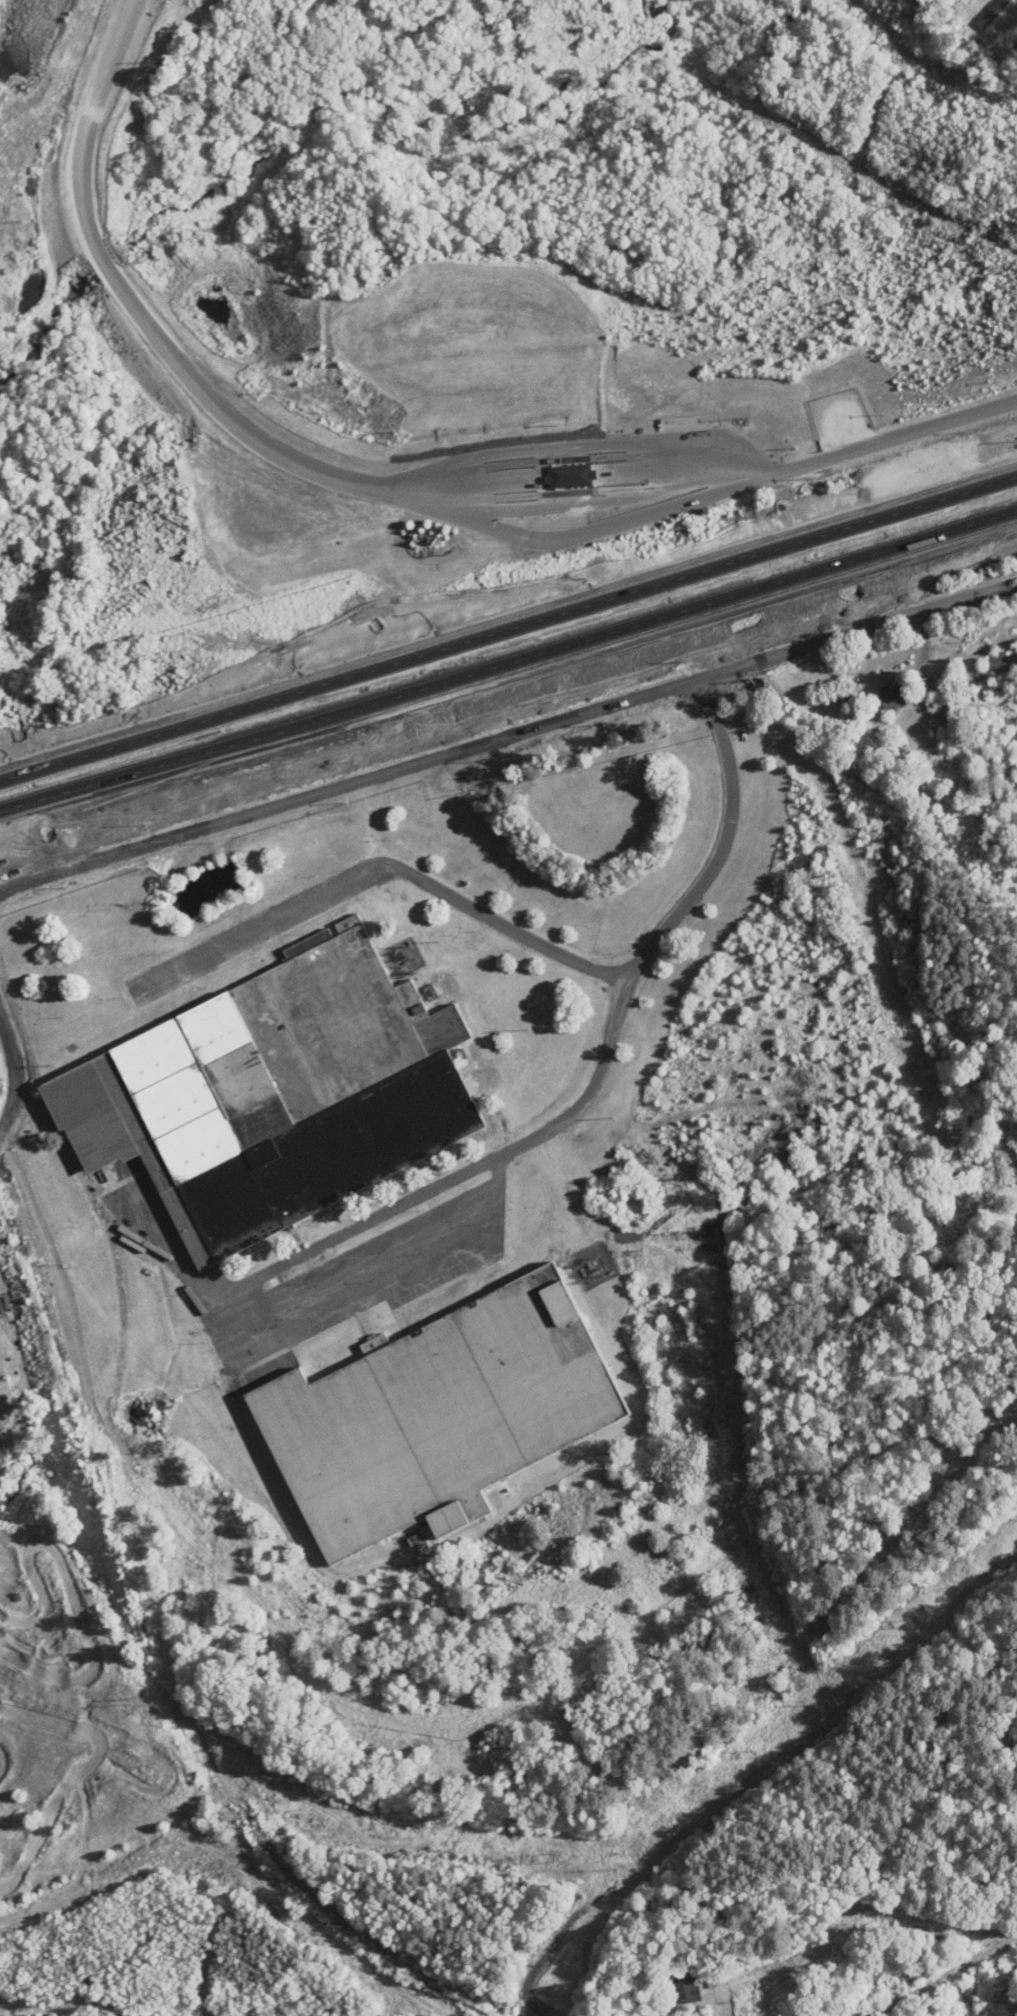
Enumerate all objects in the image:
quarry: (46, 60)
road: (911, 438)
road: (508, 625)
road: (508, 659)
building: (1000, 661)
building: (892, 696)
road: (507, 739)
road: (384, 866)
road: (18, 1073)
building: (273, 1095)
road: (560, 1120)
power substation: (593, 1263)
road: (374, 1265)
building: (437, 1417)
railway: (164, 1665)
building: (685, 1990)

